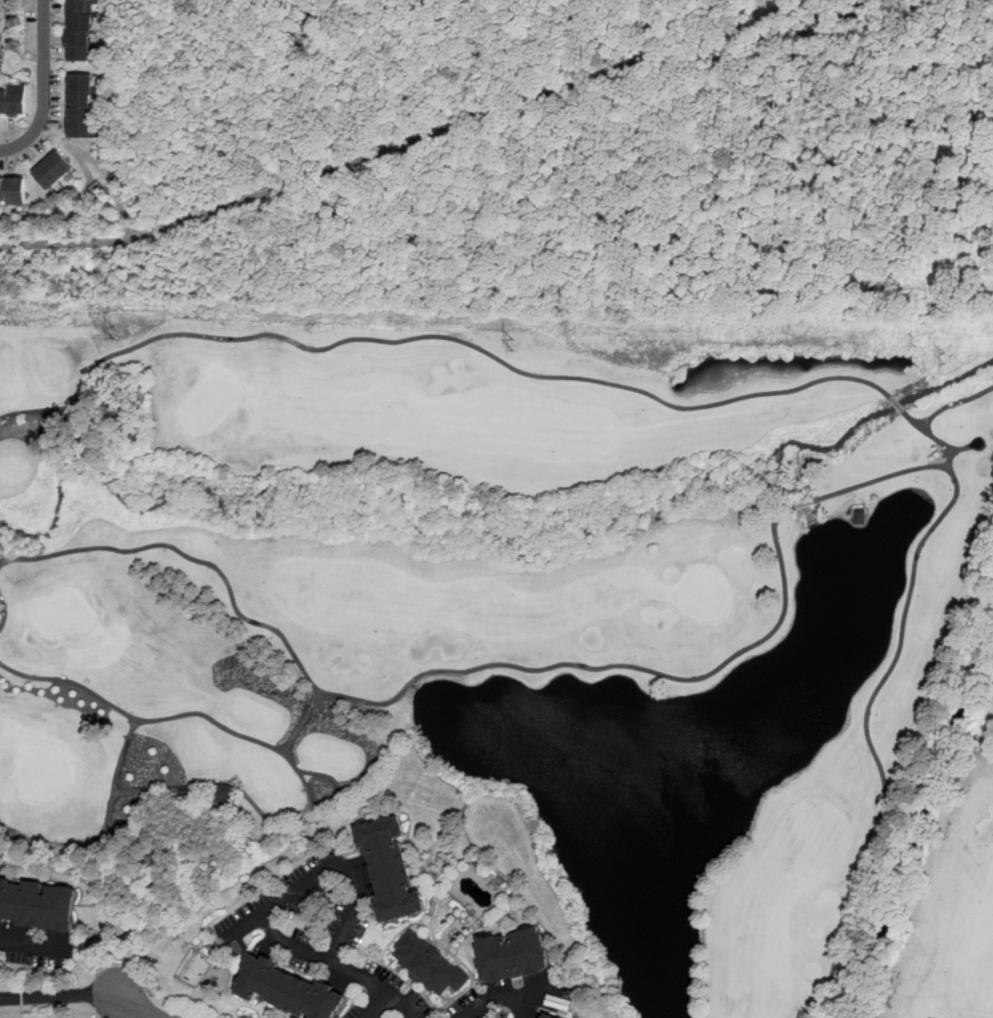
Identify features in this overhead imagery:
road: (765, 14)
building: (84, 29)
road: (43, 86)
building: (16, 100)
building: (88, 106)
road: (80, 152)
road: (376, 152)
building: (62, 169)
building: (18, 189)
road: (124, 211)
power tower: (115, 332)
road: (436, 336)
power tower: (513, 345)
power tower: (946, 356)
road: (913, 420)
road: (881, 477)
building: (859, 516)
road: (4, 605)
park: (526, 612)
road: (422, 676)
road: (885, 677)
road: (71, 682)
road: (301, 721)
building: (223, 793)
road: (312, 804)
river: (921, 812)
road: (103, 828)
road: (329, 866)
building: (398, 868)
building: (40, 900)
building: (220, 943)
road: (319, 954)
building: (521, 955)
building: (437, 964)
building: (296, 989)
road: (503, 994)
road: (58, 995)
road: (374, 1005)
road: (400, 1005)
road: (140, 1007)
road: (175, 1009)
building: (550, 1016)

